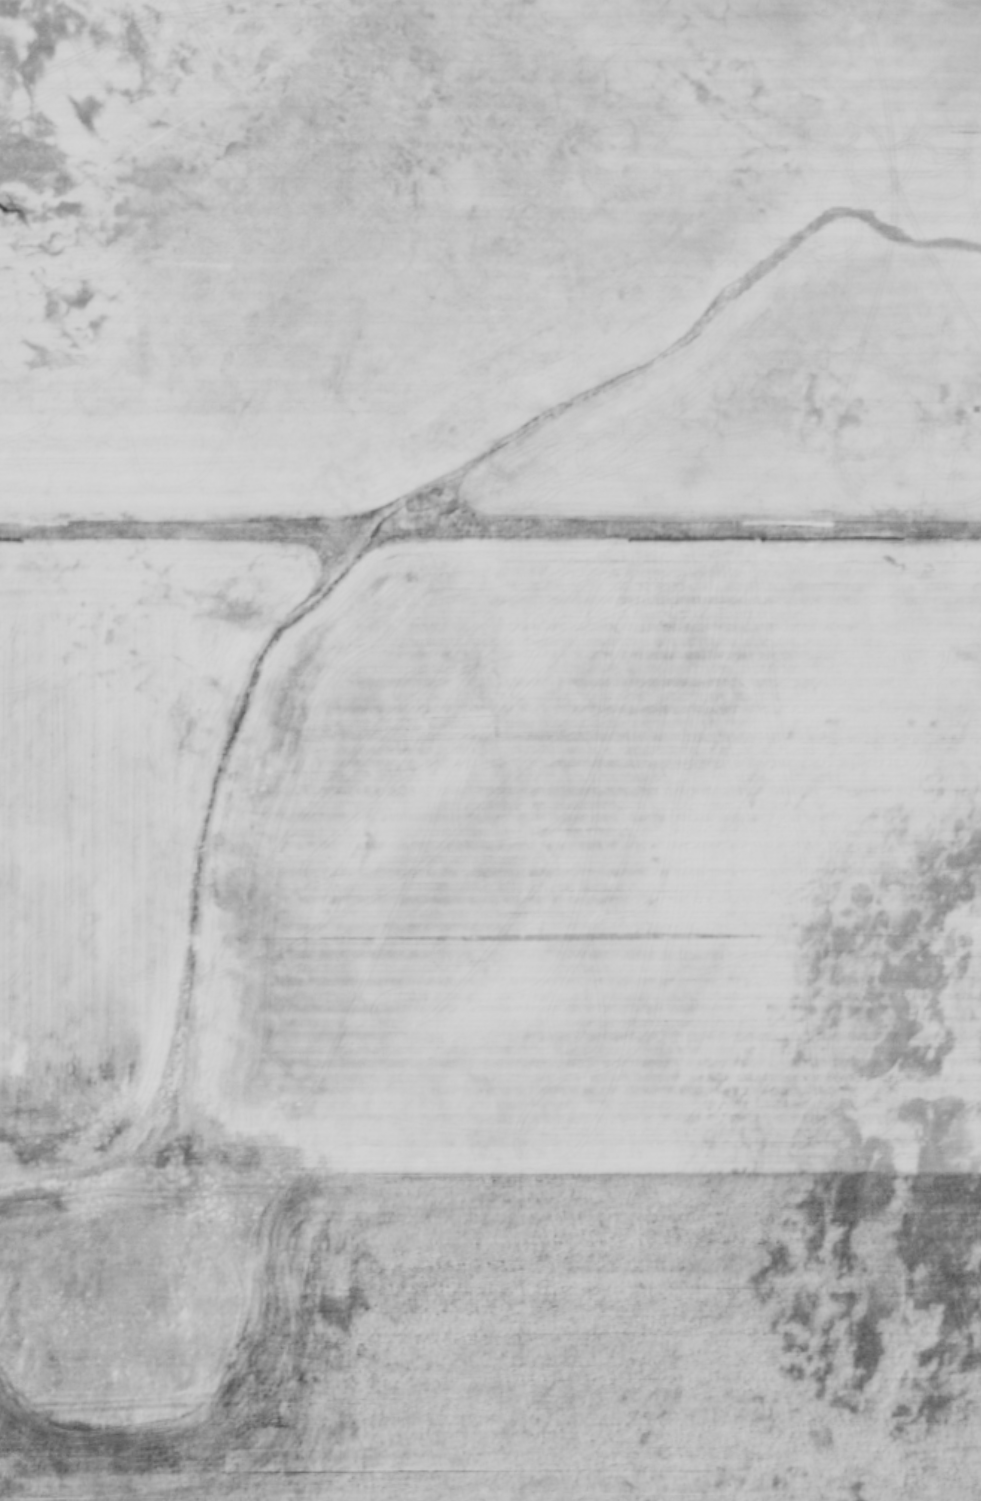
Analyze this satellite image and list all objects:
power tower: (0, 202)
road: (490, 523)

